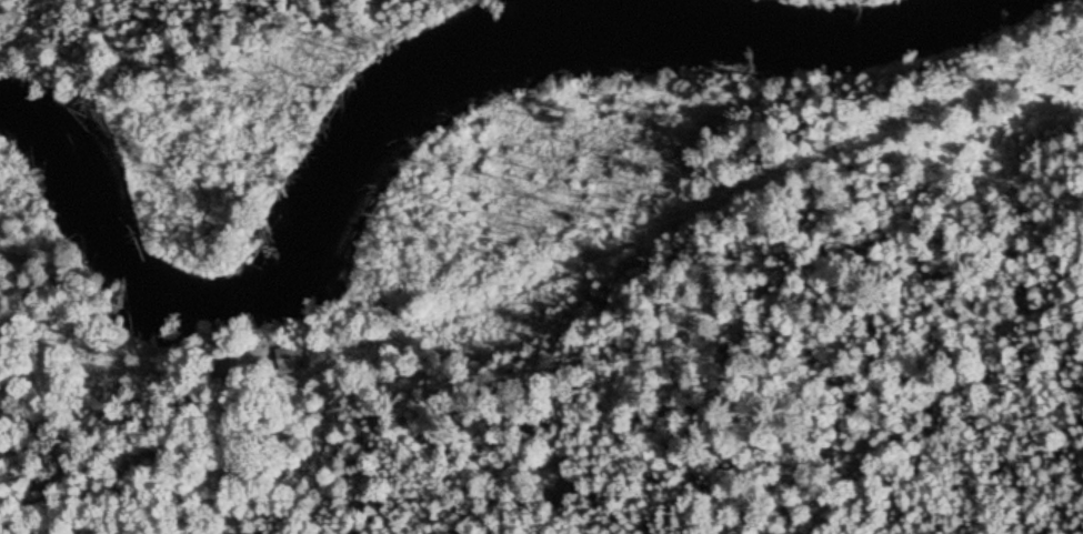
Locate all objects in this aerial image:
river: (818, 29)
river: (319, 261)
road: (879, 322)
building: (293, 356)
road: (238, 466)

